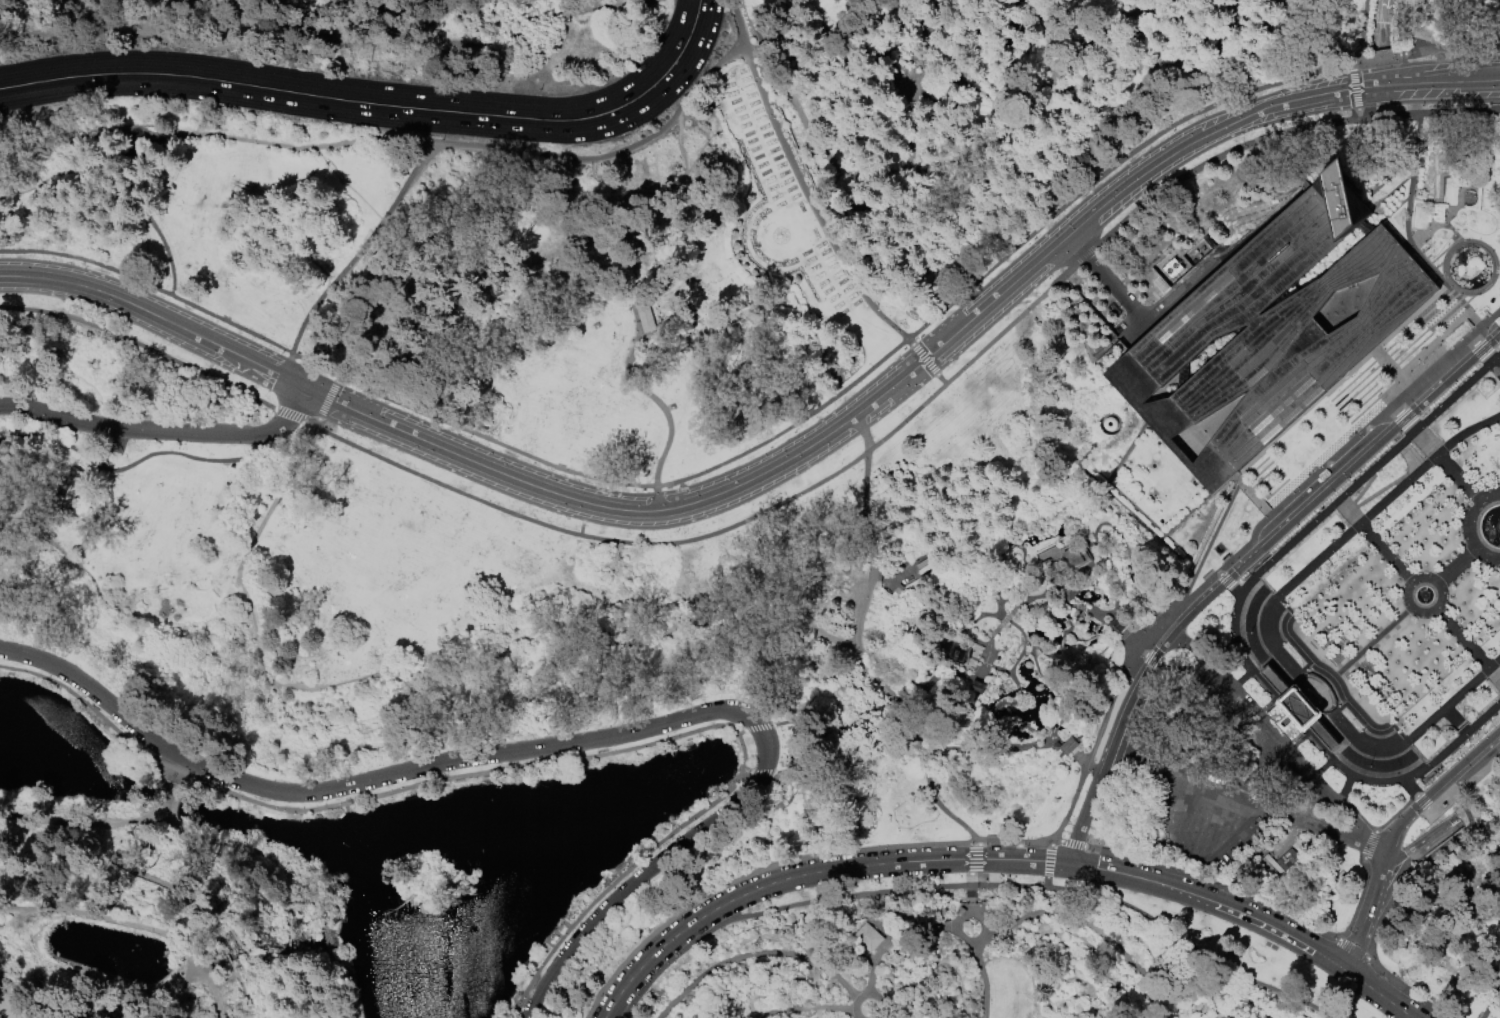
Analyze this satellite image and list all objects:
road: (1405, 19)
road: (1381, 25)
road: (1310, 26)
road: (678, 27)
road: (1360, 32)
road: (703, 36)
road: (307, 39)
road: (1399, 41)
road: (1425, 51)
road: (1352, 67)
road: (340, 87)
road: (1354, 89)
road: (1266, 110)
road: (352, 113)
road: (913, 114)
road: (1357, 114)
road: (219, 134)
road: (1281, 134)
road: (632, 143)
road: (946, 154)
road: (1442, 175)
road: (1093, 198)
parking lot: (1390, 199)
road: (810, 200)
road: (1457, 206)
road: (627, 208)
road: (145, 212)
road: (392, 221)
road: (1453, 231)
road: (354, 256)
road: (1083, 256)
road: (1428, 265)
road: (80, 272)
road: (1481, 290)
road: (1348, 304)
road: (142, 310)
road: (1135, 311)
building: (645, 318)
road: (1475, 319)
road: (1484, 323)
road: (391, 326)
building: (1272, 329)
road: (910, 341)
road: (139, 344)
road: (1480, 349)
road: (924, 359)
road: (211, 361)
road: (971, 361)
road: (1496, 366)
road: (1391, 369)
road: (1430, 371)
road: (942, 379)
road: (290, 381)
road: (1341, 382)
road: (652, 397)
road: (327, 401)
road: (1395, 409)
road: (293, 417)
road: (1115, 417)
road: (1403, 418)
road: (1112, 420)
road: (1185, 423)
road: (1411, 426)
road: (161, 431)
road: (403, 432)
road: (862, 433)
road: (1373, 435)
road: (1099, 438)
road: (1134, 439)
road: (56, 442)
street lamp: (184, 445)
road: (813, 445)
road: (1393, 448)
road: (187, 457)
road: (1410, 460)
road: (1077, 461)
road: (1329, 461)
road: (714, 467)
road: (1333, 471)
road: (1099, 475)
road: (1460, 481)
building: (70, 487)
road: (683, 492)
road: (1124, 498)
road: (1311, 502)
road: (1357, 502)
road: (1197, 506)
road: (264, 509)
park: (750, 509)
road: (1347, 509)
road: (1222, 515)
road: (864, 518)
road: (583, 520)
road: (1356, 521)
road: (1101, 524)
road: (1145, 524)
road: (1471, 526)
fountain: (1499, 526)
road: (590, 537)
road: (1108, 542)
road: (1384, 551)
building: (1070, 554)
road: (1051, 564)
road: (1142, 564)
road: (1457, 564)
road: (999, 567)
road: (904, 568)
road: (1128, 568)
road: (1114, 569)
road: (1078, 572)
road: (1218, 574)
road: (1050, 579)
road: (1225, 580)
building: (1066, 586)
building: (897, 591)
road: (1235, 591)
fountain: (1422, 595)
road: (1008, 600)
road: (1025, 600)
road: (1052, 601)
road: (1346, 601)
road: (1067, 605)
road: (1437, 606)
park: (1383, 609)
road: (920, 613)
road: (974, 617)
road: (1003, 620)
road: (1113, 624)
road: (1116, 625)
building: (1117, 625)
toll booth: (1117, 626)
road: (1376, 627)
road: (952, 629)
road: (1269, 629)
road: (1234, 631)
flagpole: (1251, 633)
road: (516, 636)
road: (1293, 636)
road: (1462, 637)
road: (1089, 638)
road: (1061, 639)
road: (1132, 641)
road: (987, 642)
road: (1218, 651)
road: (1364, 651)
building: (958, 653)
road: (1307, 658)
road: (1153, 659)
road: (983, 663)
road: (989, 665)
road: (1186, 667)
road: (1332, 667)
road: (951, 670)
road: (1005, 671)
road: (1344, 677)
road: (1499, 679)
road: (1239, 681)
road: (1014, 682)
building: (976, 687)
road: (1396, 689)
road: (1142, 699)
road: (859, 701)
road: (1124, 711)
building: (1296, 711)
road: (1058, 714)
road: (901, 715)
road: (970, 717)
road: (1454, 717)
road: (760, 727)
road: (741, 731)
road: (1309, 736)
road: (802, 744)
building: (1071, 744)
road: (1277, 744)
road: (559, 745)
road: (926, 749)
road: (1116, 758)
road: (1258, 758)
road: (1084, 765)
road: (539, 767)
flagpole: (1369, 767)
parking lot: (1468, 767)
road: (176, 768)
road: (746, 772)
road: (762, 773)
road: (1213, 775)
road: (1412, 776)
road: (1458, 779)
road: (1465, 784)
road: (1410, 788)
road: (1436, 788)
road: (1345, 790)
road: (1229, 794)
road: (1246, 801)
road: (1089, 802)
road: (1274, 802)
road: (164, 803)
road: (1423, 803)
road: (1270, 812)
road: (1396, 813)
road: (1358, 815)
road: (1216, 816)
parking lot: (1204, 819)
road: (78, 822)
road: (1183, 829)
road: (1434, 836)
road: (1055, 838)
road: (1198, 839)
road: (1050, 841)
road: (1218, 841)
road: (983, 843)
road: (1071, 844)
road: (1369, 845)
road: (1185, 851)
road: (1275, 851)
road: (238, 854)
road: (1398, 857)
road: (972, 858)
road: (1049, 861)
road: (808, 874)
road: (1126, 876)
road: (1046, 883)
road: (1214, 884)
road: (1391, 887)
road: (179, 894)
road: (970, 894)
road: (848, 895)
road: (1201, 898)
road: (1358, 901)
building: (960, 911)
road: (1102, 913)
road: (1368, 913)
road: (267, 916)
road: (104, 918)
road: (1081, 922)
road: (1379, 925)
road: (956, 926)
road: (1021, 931)
road: (1042, 931)
road: (554, 932)
road: (1282, 932)
road: (1040, 934)
road: (558, 935)
road: (1049, 936)
building: (868, 937)
road: (893, 937)
road: (1159, 938)
road: (287, 946)
road: (1353, 951)
road: (222, 952)
road: (755, 953)
road: (780, 955)
road: (226, 958)
road: (332, 959)
road: (1147, 967)
road: (1218, 968)
road: (234, 971)
road: (543, 975)
road: (924, 978)
road: (980, 979)
road: (714, 980)
road: (1179, 982)
road: (779, 984)
road: (225, 987)
road: (729, 987)
road: (957, 988)
road: (185, 989)
road: (814, 989)
road: (209, 991)
road: (902, 992)
road: (1376, 994)
road: (531, 995)
road: (1182, 995)
road: (867, 996)
road: (1199, 996)
road: (247, 999)
road: (730, 999)
road: (1176, 999)
road: (749, 1000)
road: (1490, 1001)
road: (1107, 1002)
road: (1139, 1002)
road: (702, 1003)
road: (1173, 1004)
road: (1210, 1006)
road: (802, 1008)
road: (1148, 1008)
road: (1199, 1010)
road: (1169, 1011)
road: (812, 1015)
road: (2, 1016)
road: (881, 1017)

